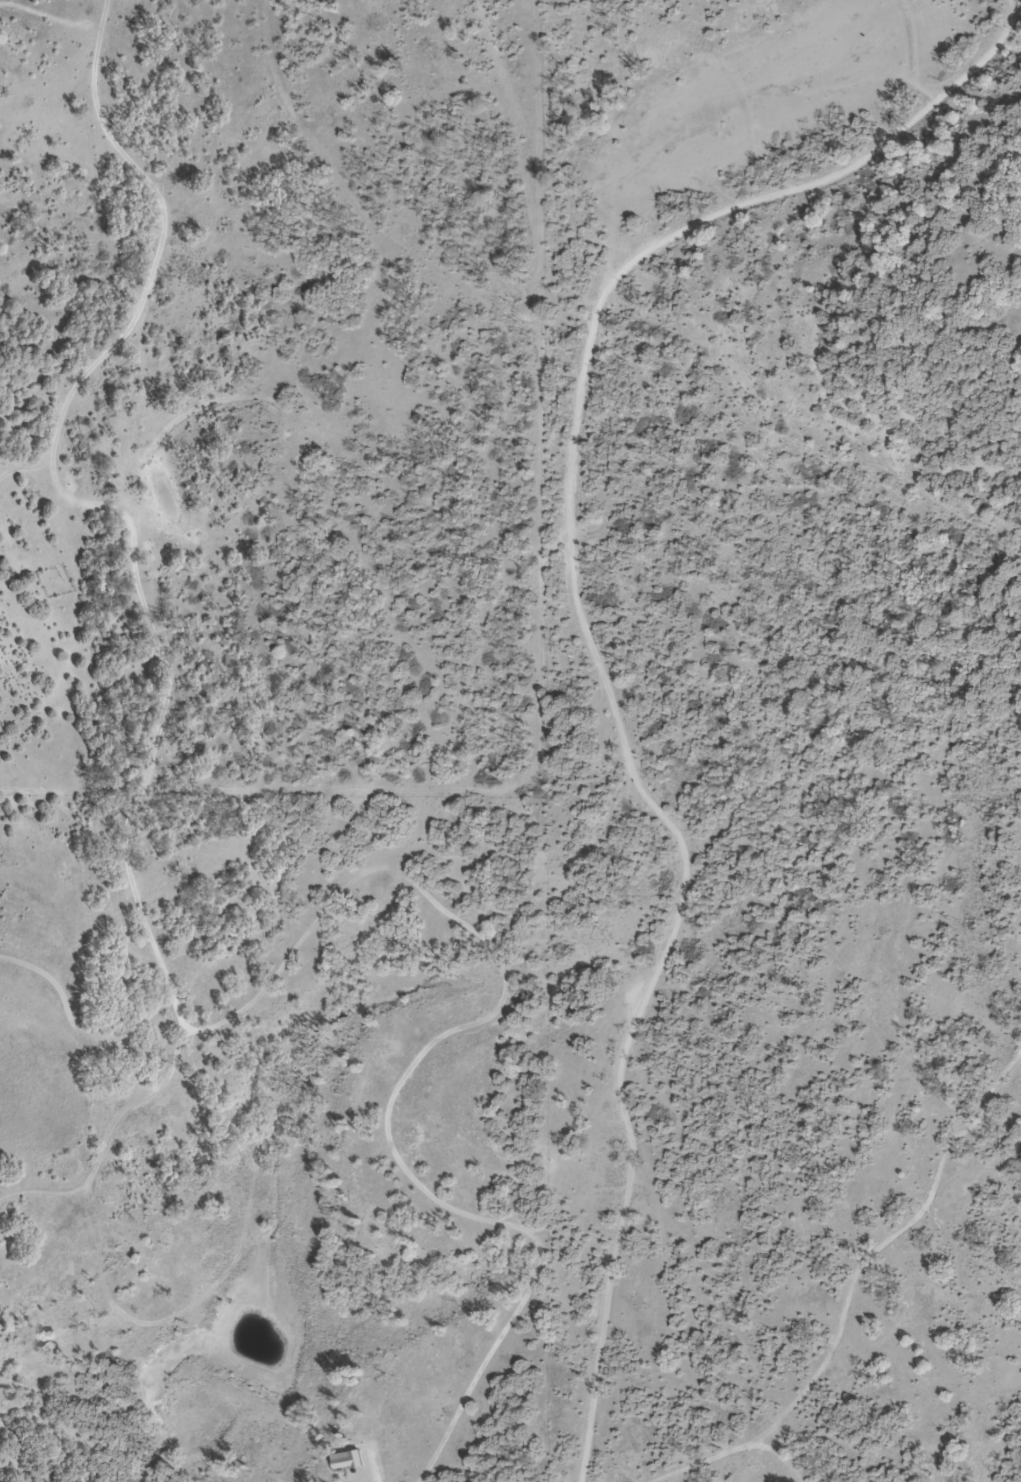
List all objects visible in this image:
road: (147, 613)
road: (595, 664)
road: (424, 1051)

